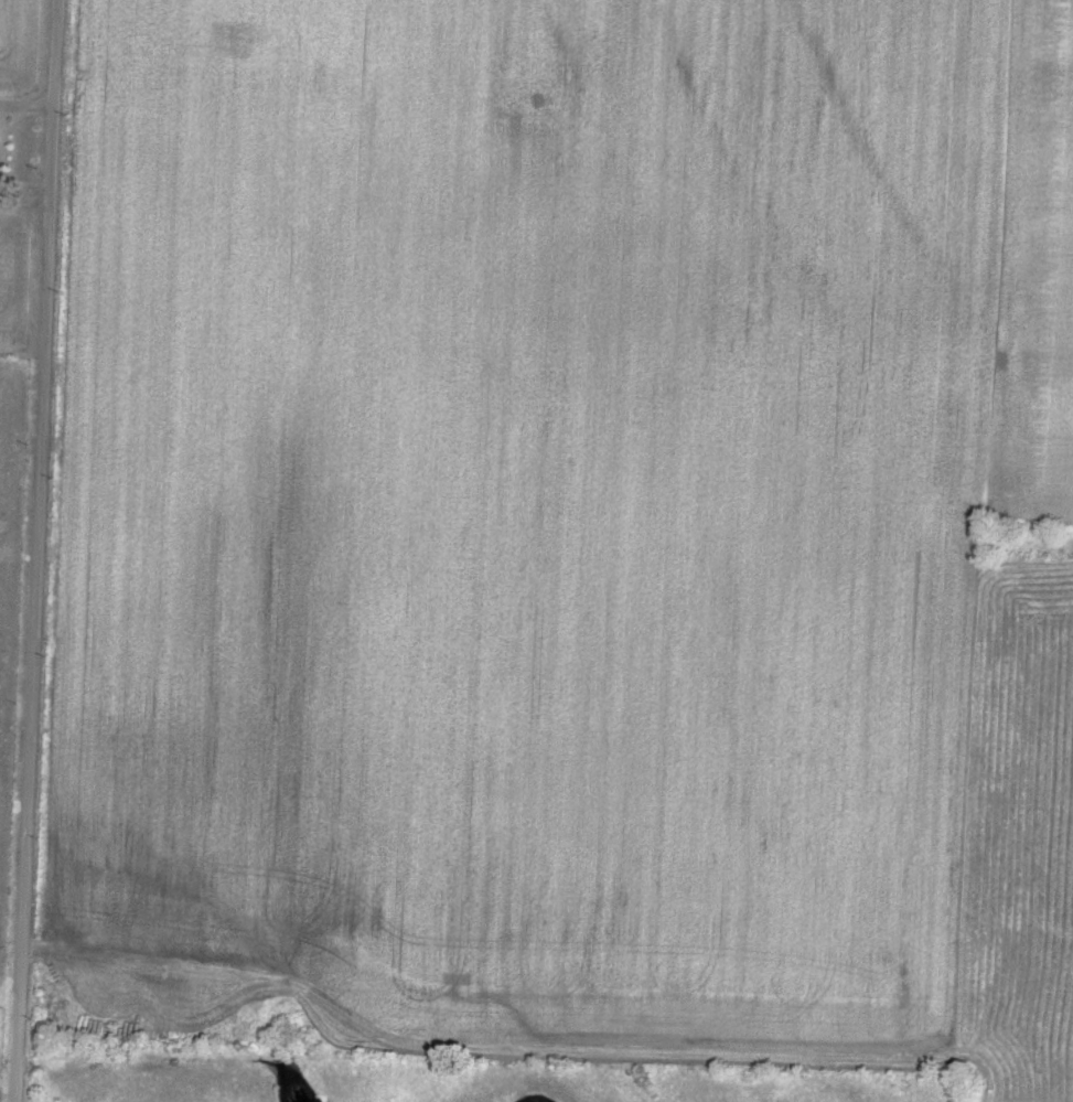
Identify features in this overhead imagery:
road: (28, 105)
road: (26, 184)
road: (36, 550)

